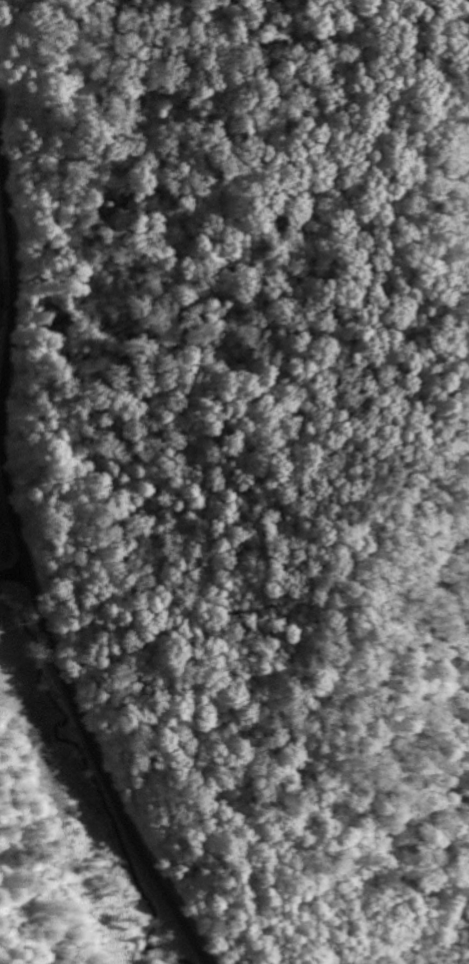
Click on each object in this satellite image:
road: (28, 565)

